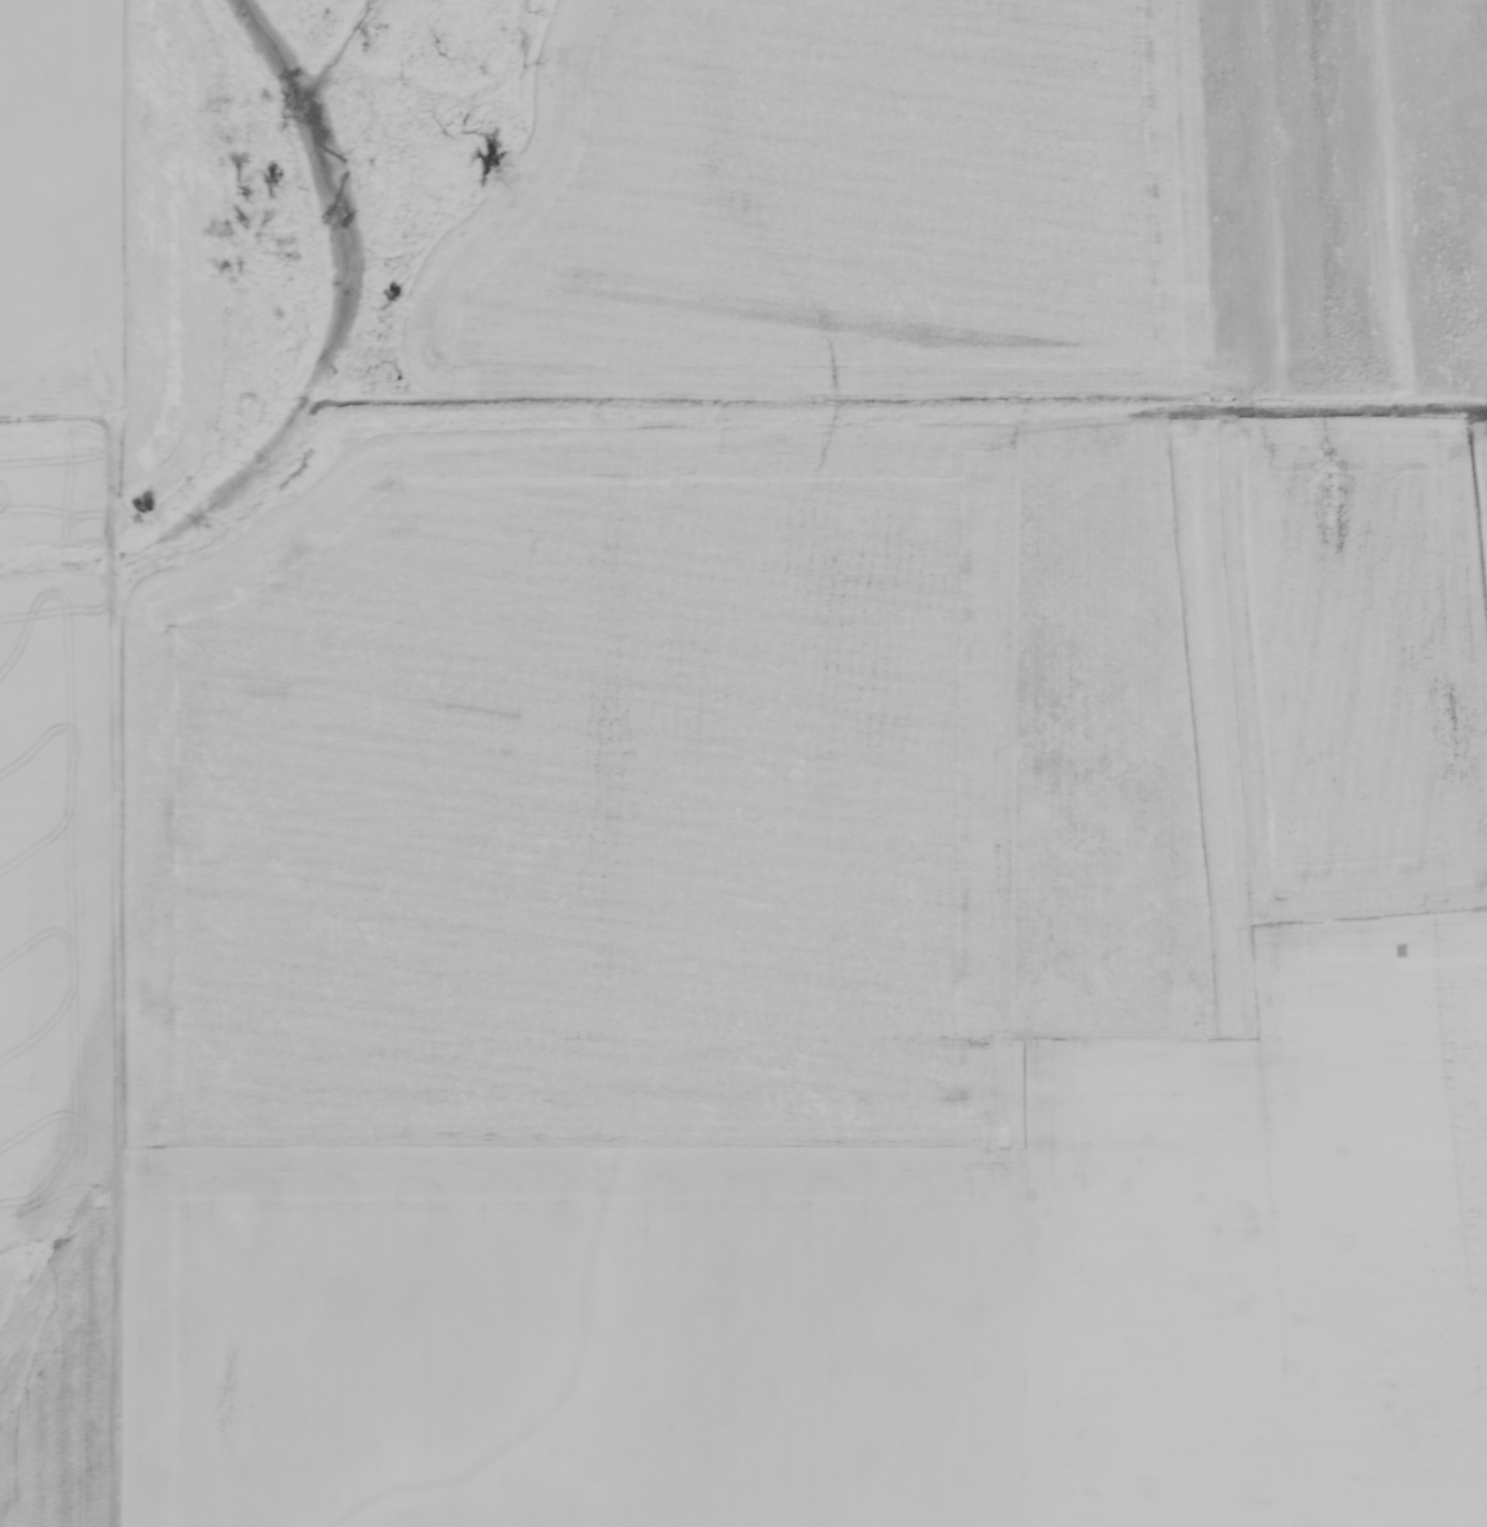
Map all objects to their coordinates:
road: (111, 572)

